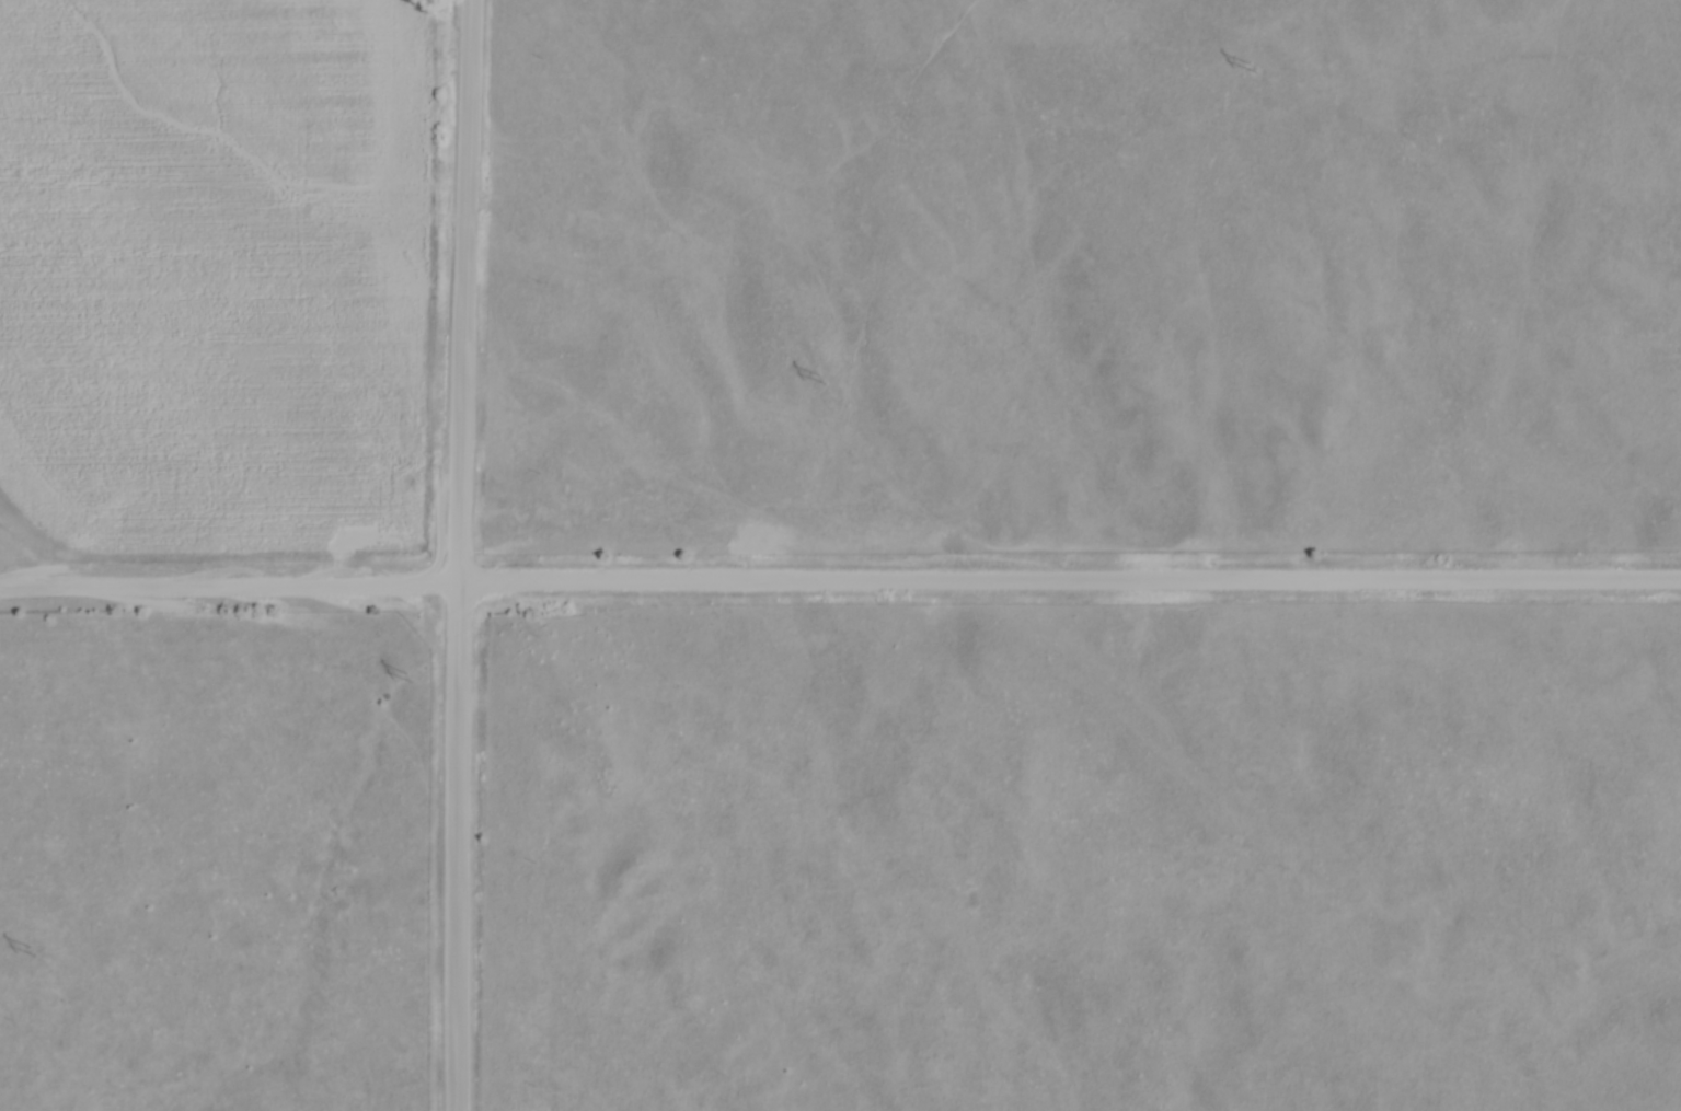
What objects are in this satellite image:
power tower: (1251, 71)
power tower: (822, 383)
road: (461, 555)
road: (840, 581)
power tower: (411, 682)
power tower: (33, 954)

